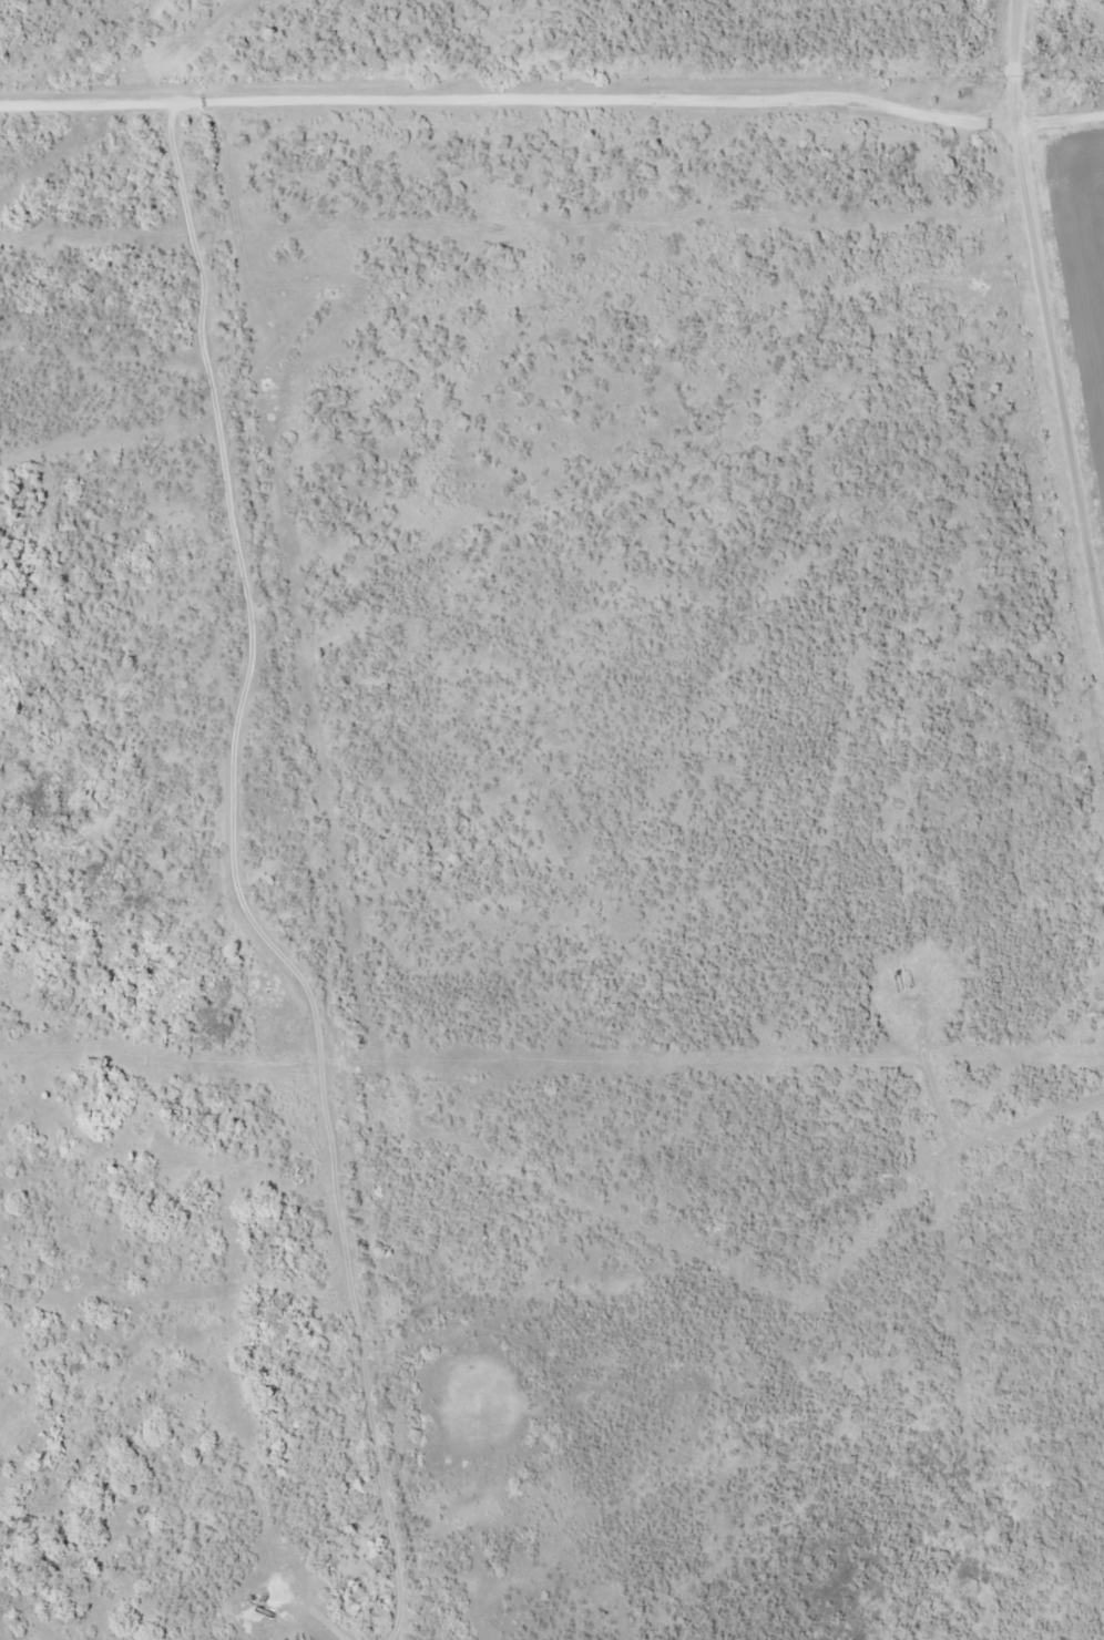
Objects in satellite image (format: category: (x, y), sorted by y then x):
road: (501, 103)
road: (1053, 111)
road: (1051, 295)

